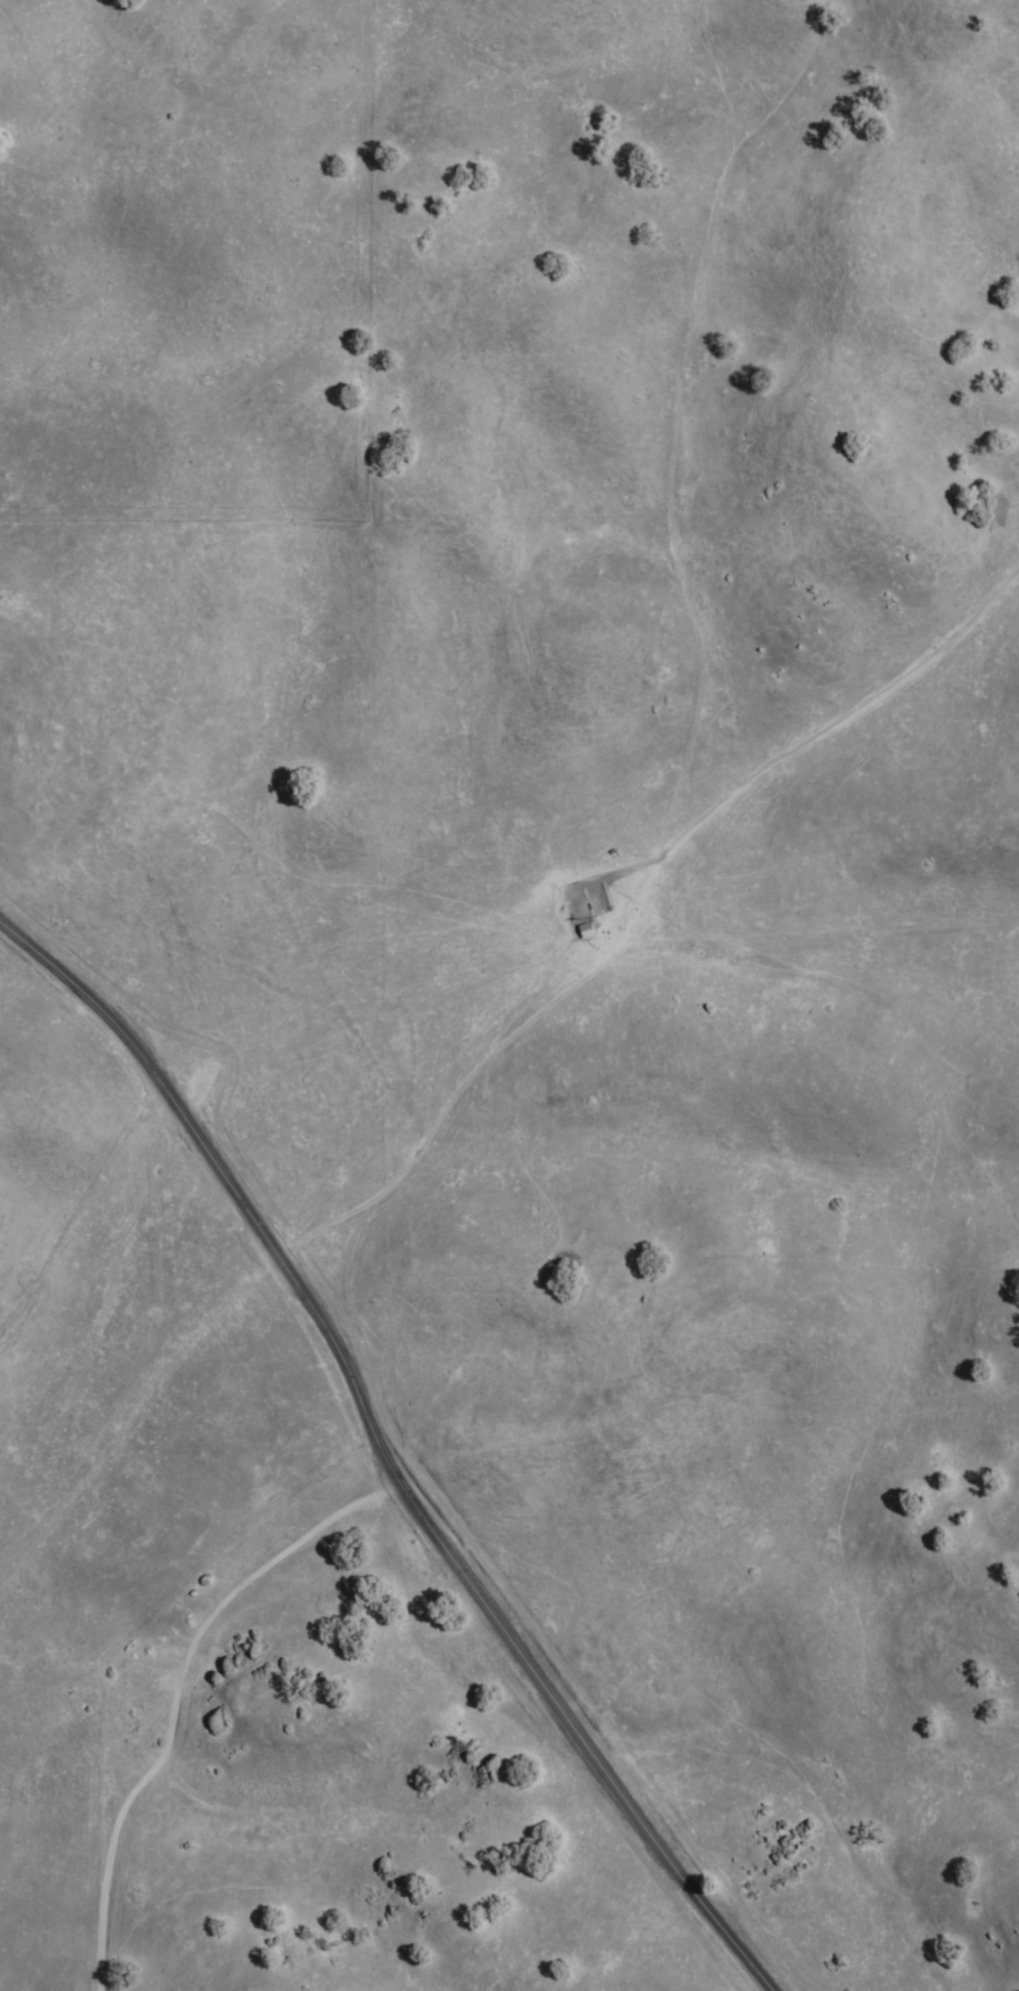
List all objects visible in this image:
road: (646, 889)
crop: (426, 1123)
road: (424, 1416)

